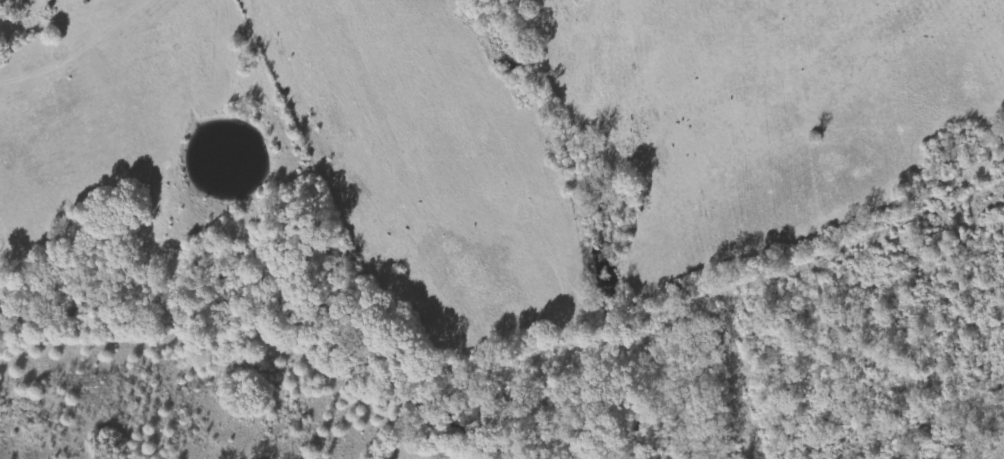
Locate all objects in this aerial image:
road: (71, 49)

